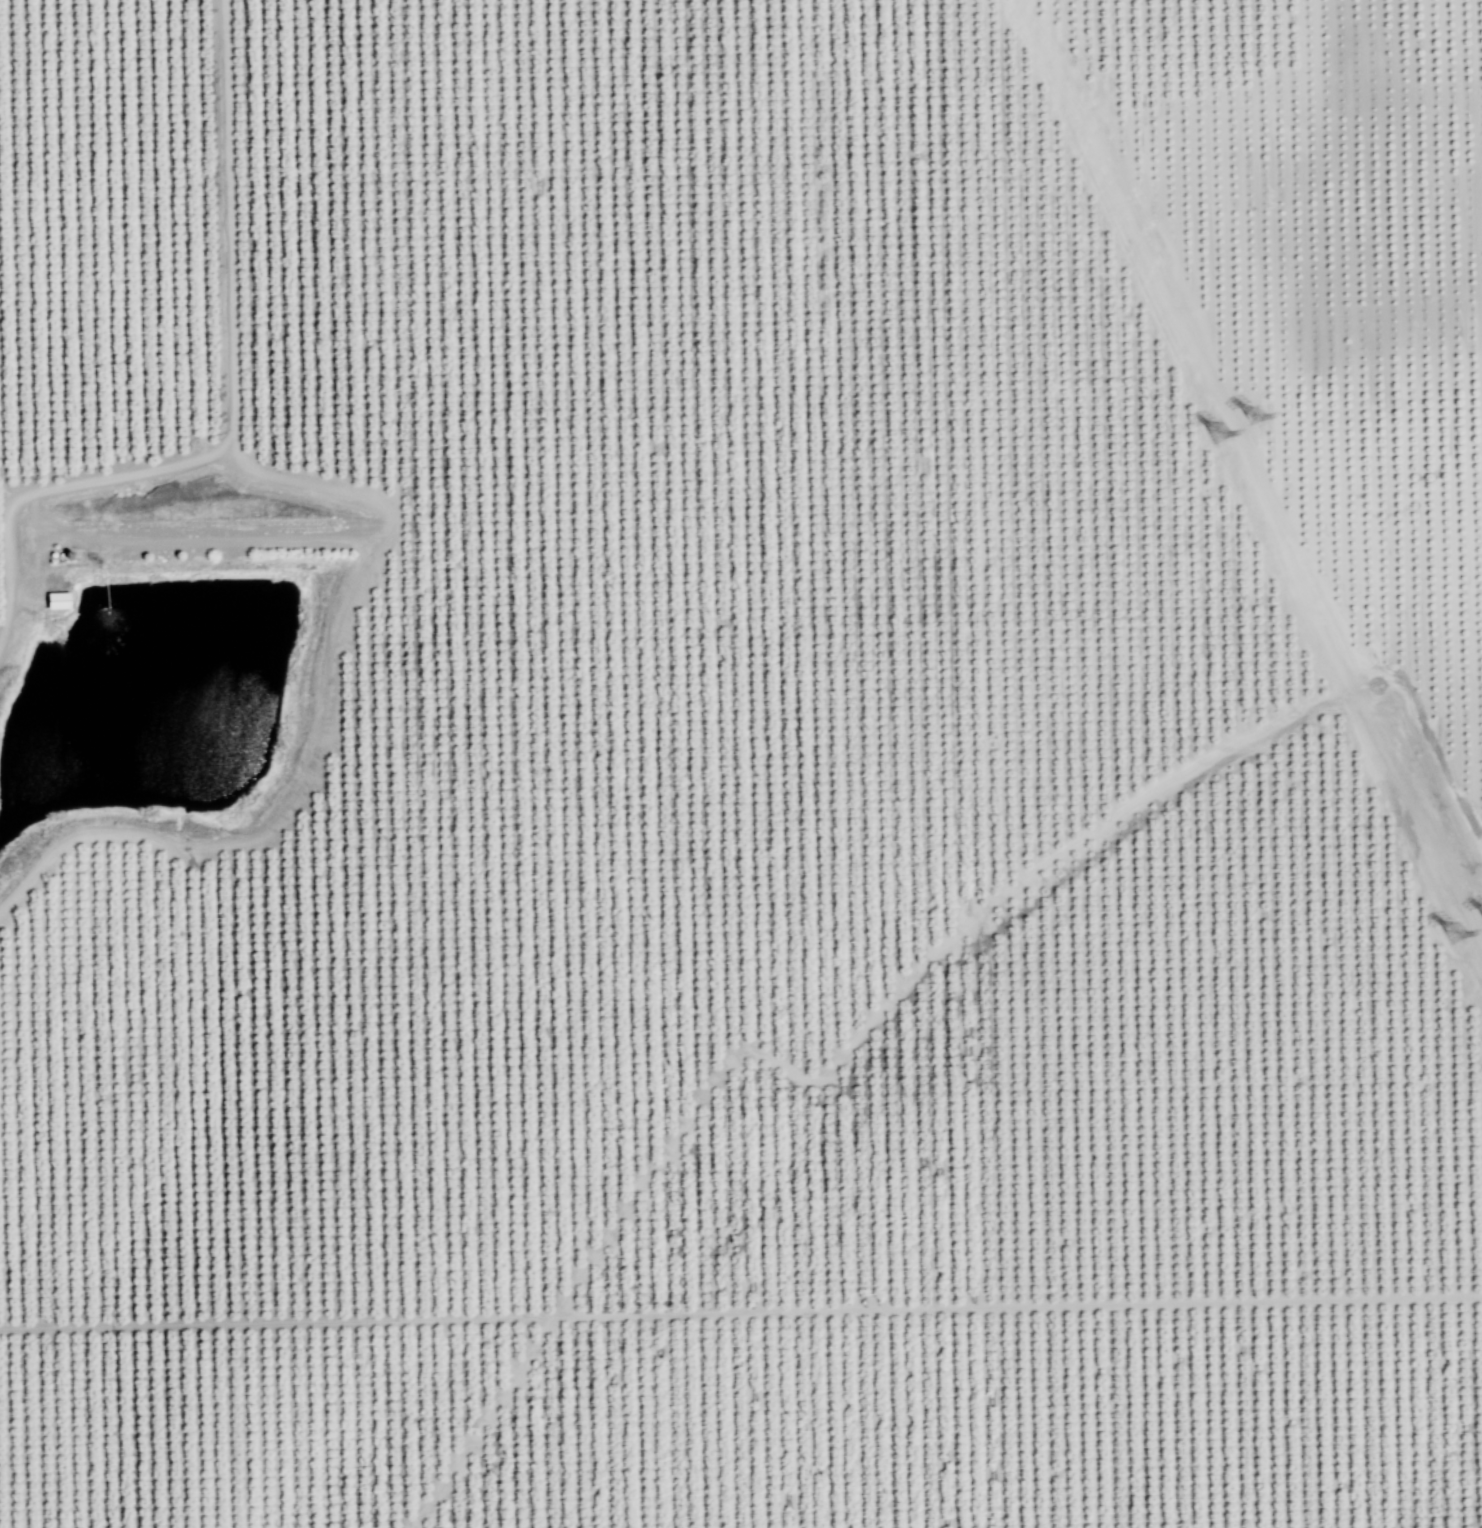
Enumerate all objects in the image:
power tower: (1252, 417)
power tower: (1216, 436)
building: (53, 601)
crop: (175, 651)
power tower: (1453, 935)

